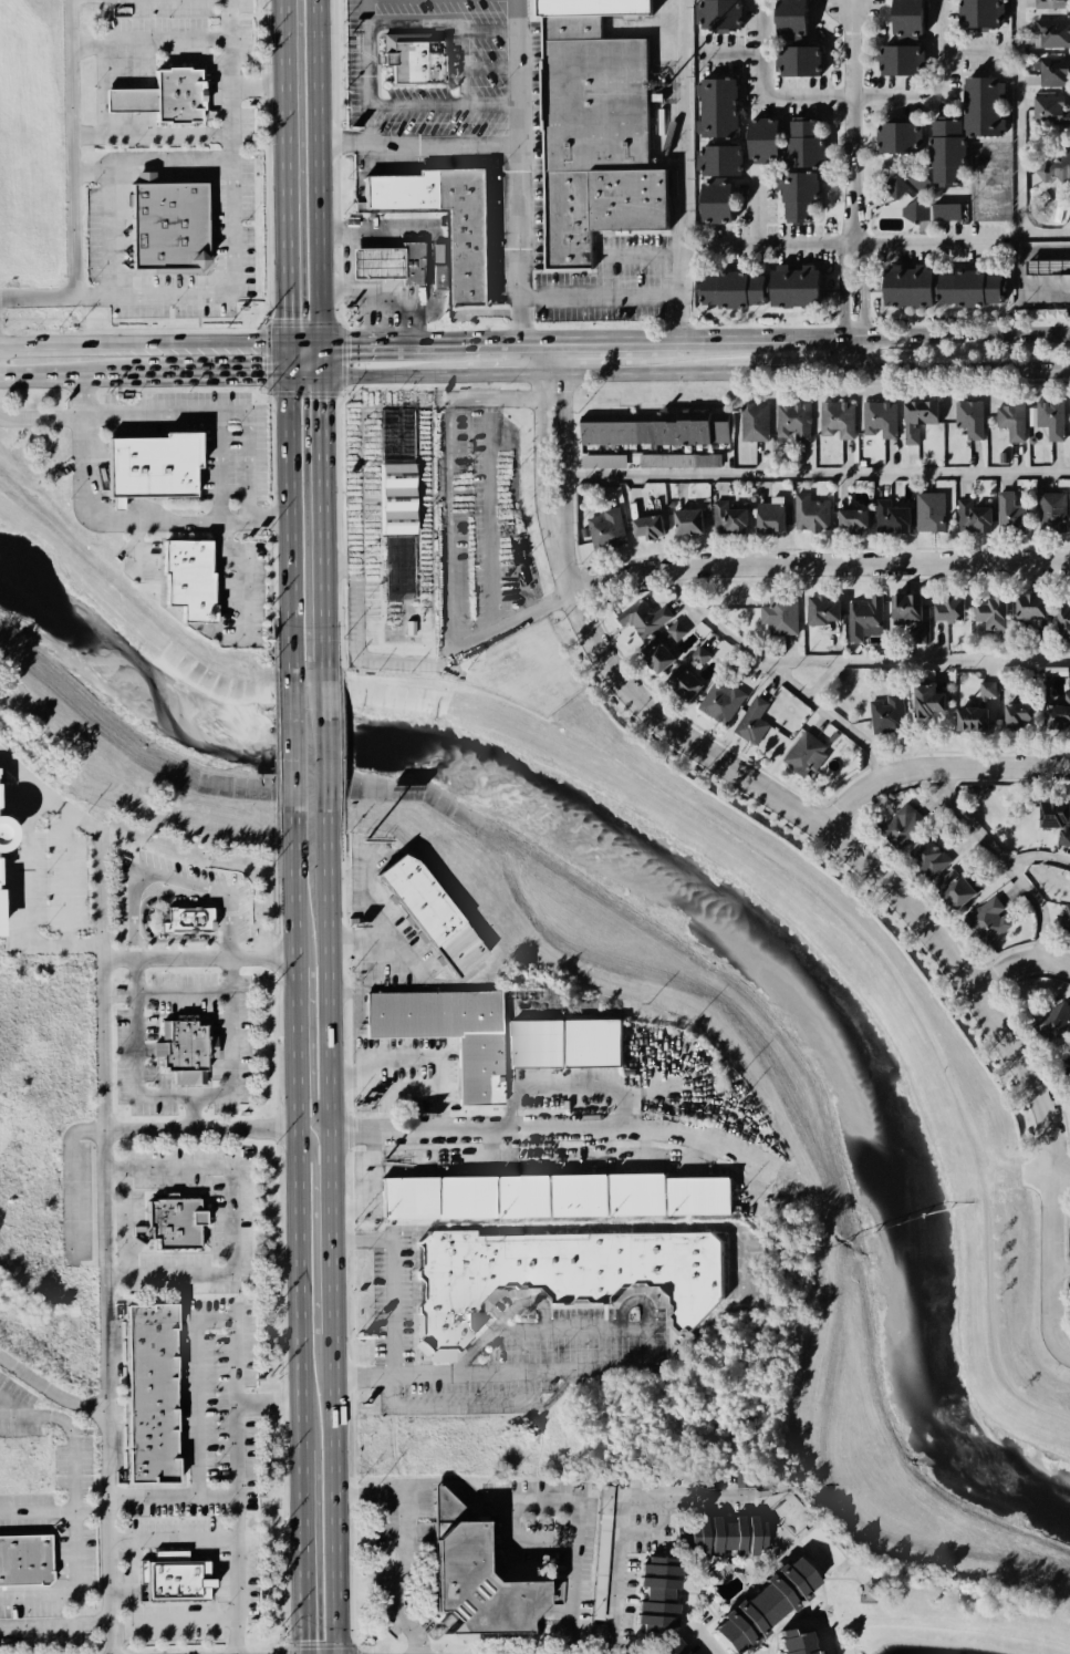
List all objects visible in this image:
building: (1053, 4)
building: (978, 12)
building: (718, 14)
building: (789, 17)
building: (906, 17)
road: (227, 27)
building: (1053, 32)
road: (942, 44)
road: (761, 48)
building: (898, 60)
building: (797, 63)
building: (419, 64)
road: (365, 70)
building: (1052, 71)
road: (256, 89)
building: (176, 95)
road: (850, 95)
building: (126, 100)
road: (441, 104)
building: (981, 106)
building: (1049, 108)
road: (853, 123)
building: (594, 130)
building: (895, 137)
building: (762, 138)
crop: (31, 142)
road: (417, 142)
road: (1017, 143)
building: (803, 144)
road: (70, 148)
building: (717, 149)
building: (946, 153)
building: (1055, 167)
road: (516, 168)
road: (682, 168)
road: (283, 173)
building: (893, 186)
building: (799, 198)
road: (229, 205)
road: (758, 208)
building: (946, 211)
building: (446, 223)
building: (170, 225)
road: (849, 246)
road: (1045, 248)
building: (413, 262)
building: (375, 265)
gas station: (375, 265)
building: (1048, 267)
road: (854, 269)
road: (1019, 270)
building: (760, 286)
building: (906, 289)
building: (970, 289)
road: (1045, 290)
road: (599, 294)
traffic signals: (285, 318)
road: (854, 332)
road: (963, 333)
road: (318, 334)
road: (785, 334)
road: (533, 337)
road: (589, 337)
road: (633, 337)
road: (677, 337)
road: (416, 338)
road: (302, 339)
traffic signals: (350, 339)
road: (187, 340)
road: (43, 341)
road: (551, 355)
road: (210, 373)
traffic signals: (262, 373)
road: (302, 374)
road: (498, 374)
road: (636, 374)
road: (788, 374)
road: (962, 374)
road: (382, 375)
road: (66, 376)
traffic signals: (320, 399)
road: (506, 405)
road: (175, 412)
building: (970, 417)
building: (1051, 417)
building: (839, 418)
building: (881, 418)
building: (916, 418)
building: (1012, 420)
building: (793, 421)
building: (755, 422)
building: (657, 426)
building: (396, 433)
road: (80, 448)
building: (603, 461)
building: (681, 461)
building: (149, 465)
road: (216, 466)
road: (811, 474)
road: (553, 485)
building: (609, 495)
building: (396, 498)
road: (288, 507)
building: (810, 511)
building: (929, 511)
building: (1051, 511)
building: (1010, 513)
building: (769, 515)
building: (972, 516)
road: (154, 518)
building: (728, 518)
building: (892, 518)
building: (852, 519)
road: (252, 520)
building: (687, 521)
building: (647, 526)
building: (606, 527)
road: (821, 561)
building: (398, 568)
road: (241, 575)
building: (186, 578)
road: (580, 600)
building: (1031, 607)
building: (948, 609)
building: (820, 610)
building: (993, 612)
building: (782, 614)
building: (864, 616)
building: (908, 616)
building: (642, 620)
building: (1062, 621)
road: (480, 630)
building: (663, 649)
road: (931, 663)
road: (799, 666)
building: (687, 672)
road: (776, 674)
building: (988, 689)
building: (723, 701)
building: (926, 701)
building: (889, 714)
building: (1018, 714)
building: (1057, 714)
building: (752, 720)
building: (970, 720)
road: (292, 740)
road: (325, 740)
building: (807, 753)
road: (937, 766)
building: (1056, 819)
building: (903, 825)
road: (98, 845)
road: (862, 854)
building: (932, 859)
road: (1005, 860)
road: (142, 868)
road: (1045, 868)
building: (0, 869)
river: (709, 871)
building: (954, 890)
road: (25, 893)
road: (383, 908)
building: (426, 912)
building: (184, 918)
building: (1064, 918)
building: (987, 921)
road: (227, 924)
road: (866, 939)
road: (363, 940)
road: (260, 955)
road: (179, 957)
road: (1020, 964)
road: (180, 989)
building: (1056, 1026)
road: (103, 1040)
building: (565, 1043)
road: (433, 1046)
building: (184, 1050)
building: (1068, 1057)
building: (477, 1068)
road: (397, 1087)
road: (310, 1089)
road: (183, 1093)
road: (565, 1093)
road: (551, 1127)
road: (245, 1128)
road: (492, 1147)
road: (598, 1147)
road: (642, 1147)
road: (314, 1166)
road: (505, 1167)
road: (1064, 1170)
road: (72, 1175)
road: (798, 1175)
building: (550, 1195)
building: (170, 1222)
road: (653, 1230)
road: (298, 1232)
road: (331, 1232)
building: (1068, 1233)
road: (1058, 1260)
road: (1063, 1270)
building: (559, 1275)
road: (152, 1279)
road: (388, 1294)
road: (633, 1304)
road: (500, 1321)
road: (569, 1329)
road: (645, 1350)
road: (489, 1375)
road: (193, 1379)
road: (50, 1387)
building: (145, 1392)
road: (72, 1430)
road: (108, 1467)
building: (746, 1480)
road: (150, 1495)
parking lot: (43, 1501)
road: (555, 1502)
road: (54, 1508)
road: (622, 1513)
building: (718, 1534)
road: (175, 1537)
building: (603, 1539)
road: (522, 1544)
road: (395, 1548)
building: (23, 1559)
road: (238, 1574)
building: (170, 1575)
building: (469, 1582)
road: (73, 1585)
building: (653, 1593)
building: (760, 1603)
road: (160, 1617)
road: (55, 1623)
road: (941, 1623)
road: (710, 1642)
building: (789, 1643)
building: (666, 1647)

